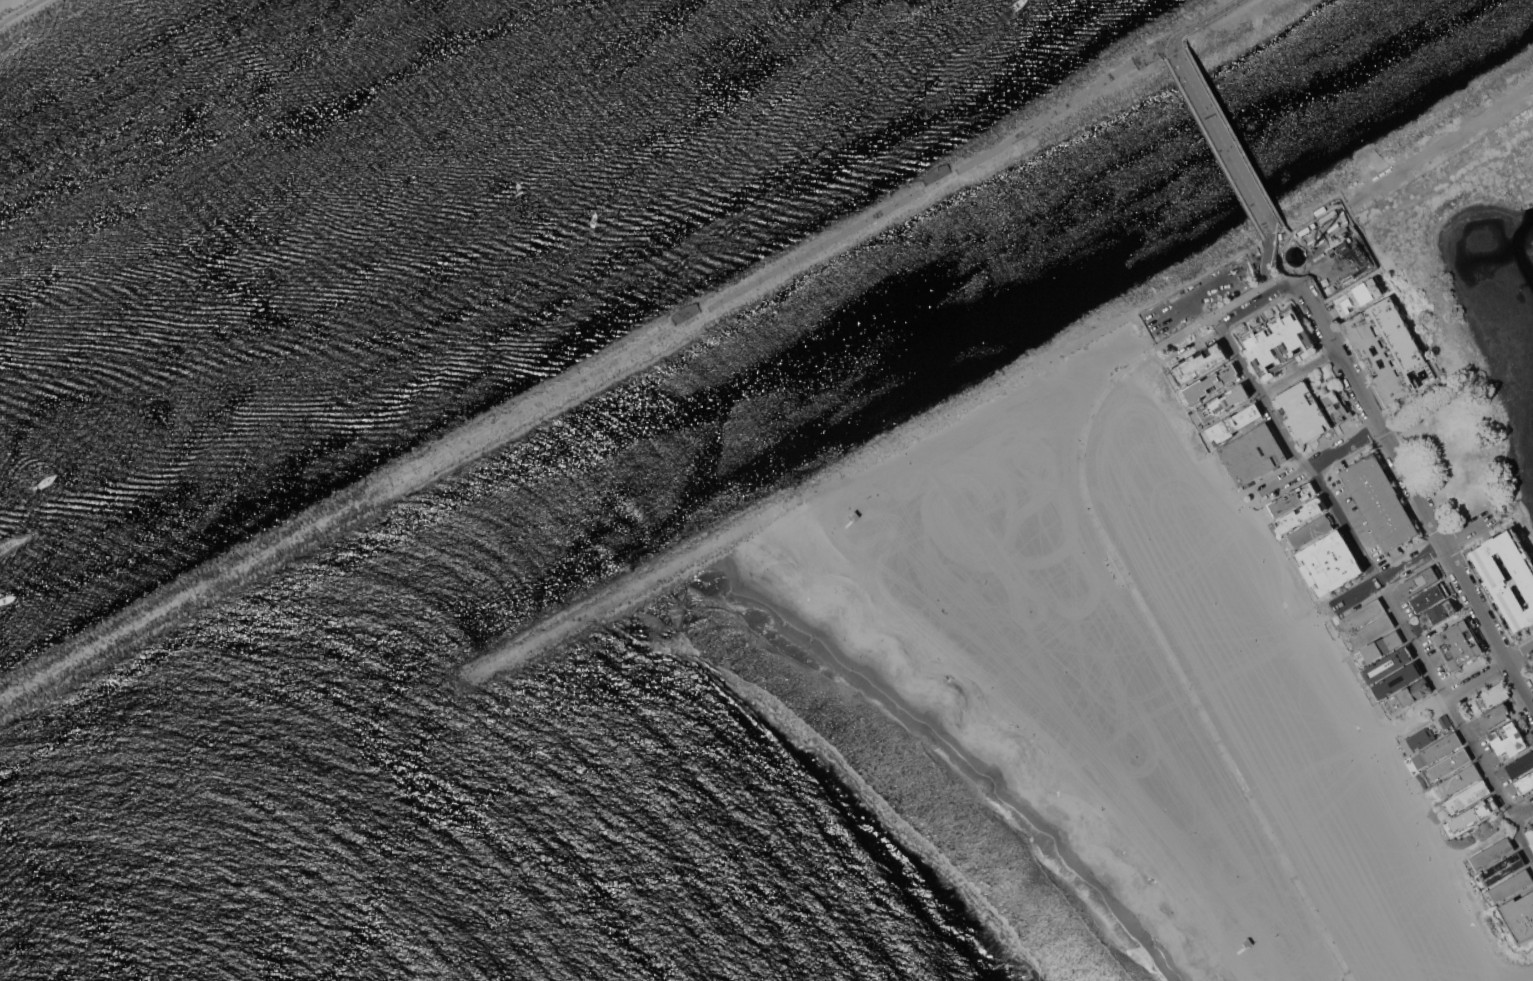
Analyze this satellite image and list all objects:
road: (19, 11)
road: (1198, 22)
road: (1222, 142)
road: (1438, 147)
road: (1451, 179)
parking lot: (1327, 224)
road: (1316, 232)
road: (1348, 241)
road: (775, 273)
road: (1270, 286)
road: (1278, 288)
road: (1214, 291)
parking lot: (1201, 293)
building: (1359, 296)
road: (1279, 297)
road: (1231, 301)
park: (1470, 315)
road: (1210, 321)
building: (1278, 341)
building: (1388, 346)
road: (1181, 349)
building: (1199, 362)
road: (1297, 371)
building: (1211, 383)
building: (1224, 402)
building: (1337, 405)
building: (1303, 412)
building: (1234, 423)
building: (1253, 453)
road: (1319, 458)
road: (1414, 492)
building: (1292, 499)
building: (1379, 501)
building: (1302, 514)
building: (854, 515)
building: (1310, 531)
road: (1410, 560)
building: (1329, 562)
building: (1494, 578)
building: (1421, 580)
road: (1381, 587)
building: (1430, 597)
building: (1439, 613)
building: (1364, 614)
building: (1372, 630)
pier: (543, 641)
building: (1459, 644)
building: (1380, 647)
road: (1171, 662)
building: (1388, 664)
park: (1530, 664)
parking lot: (1532, 669)
road: (1489, 672)
building: (1397, 680)
building: (1408, 695)
building: (1489, 697)
road: (1421, 713)
building: (1495, 715)
building: (1426, 733)
building: (1509, 740)
building: (1440, 748)
park: (1339, 761)
building: (1449, 764)
building: (1521, 764)
building: (1457, 781)
building: (1526, 783)
building: (1468, 796)
road: (1523, 813)
building: (1474, 814)
road: (1487, 834)
building: (1530, 835)
building: (1493, 853)
building: (1502, 869)
building: (1511, 885)
building: (1519, 916)
building: (1247, 943)

